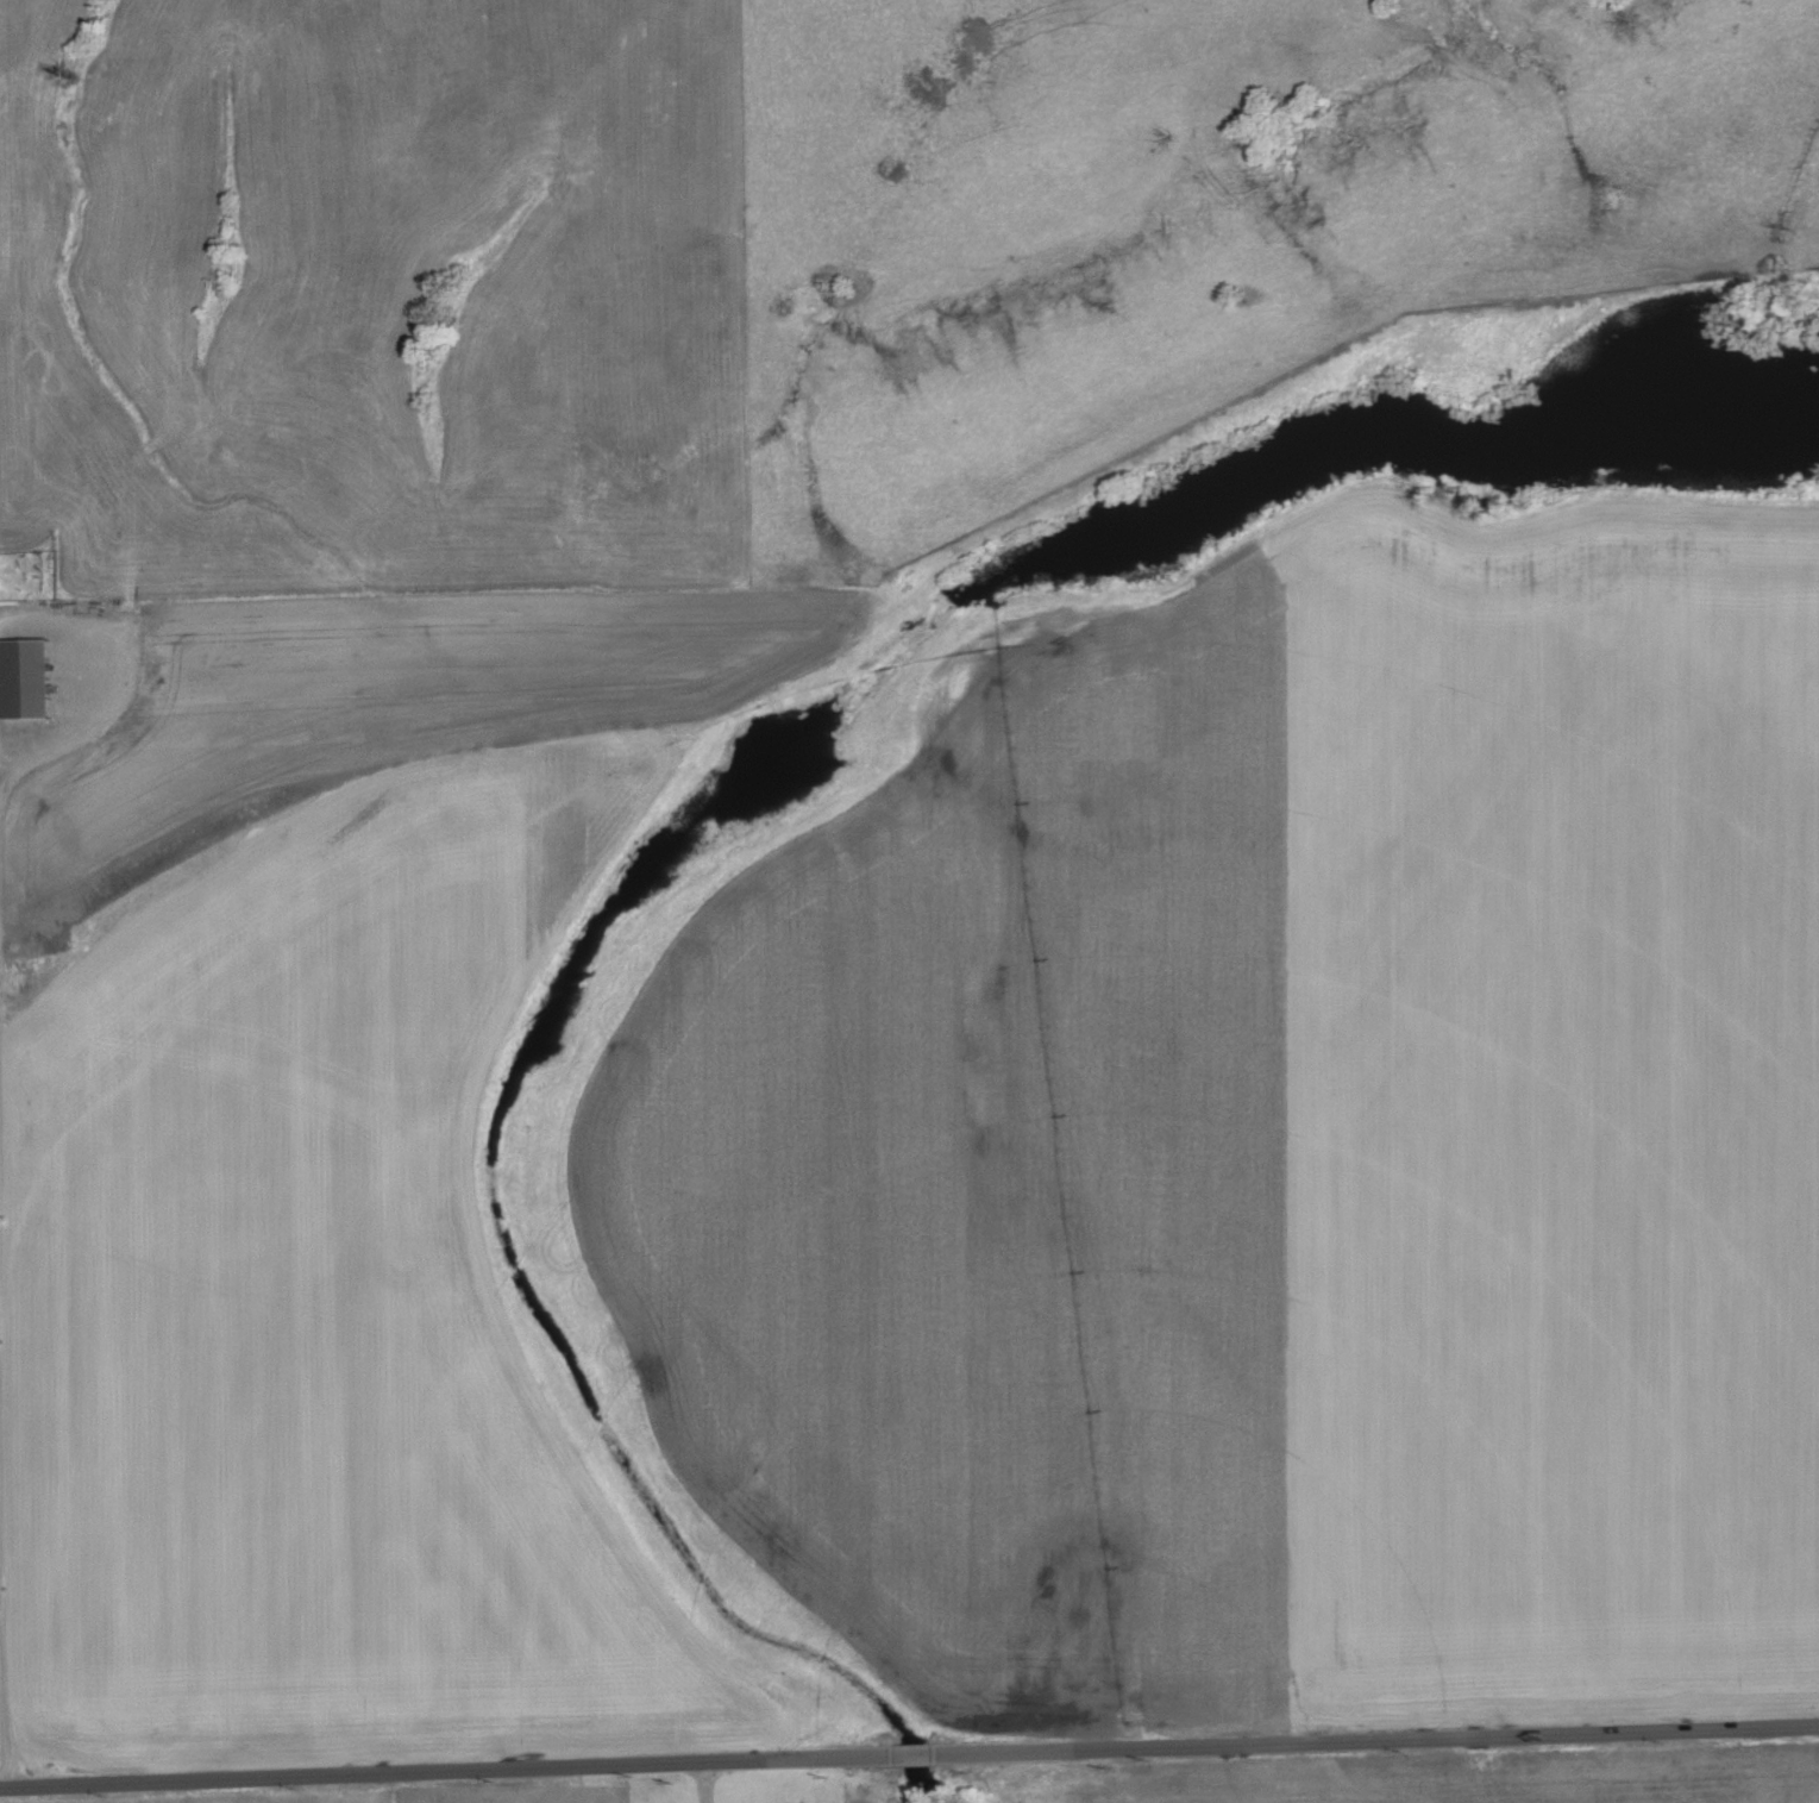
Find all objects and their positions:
building: (33, 676)
road: (10, 1376)
road: (909, 1760)
road: (703, 1784)

